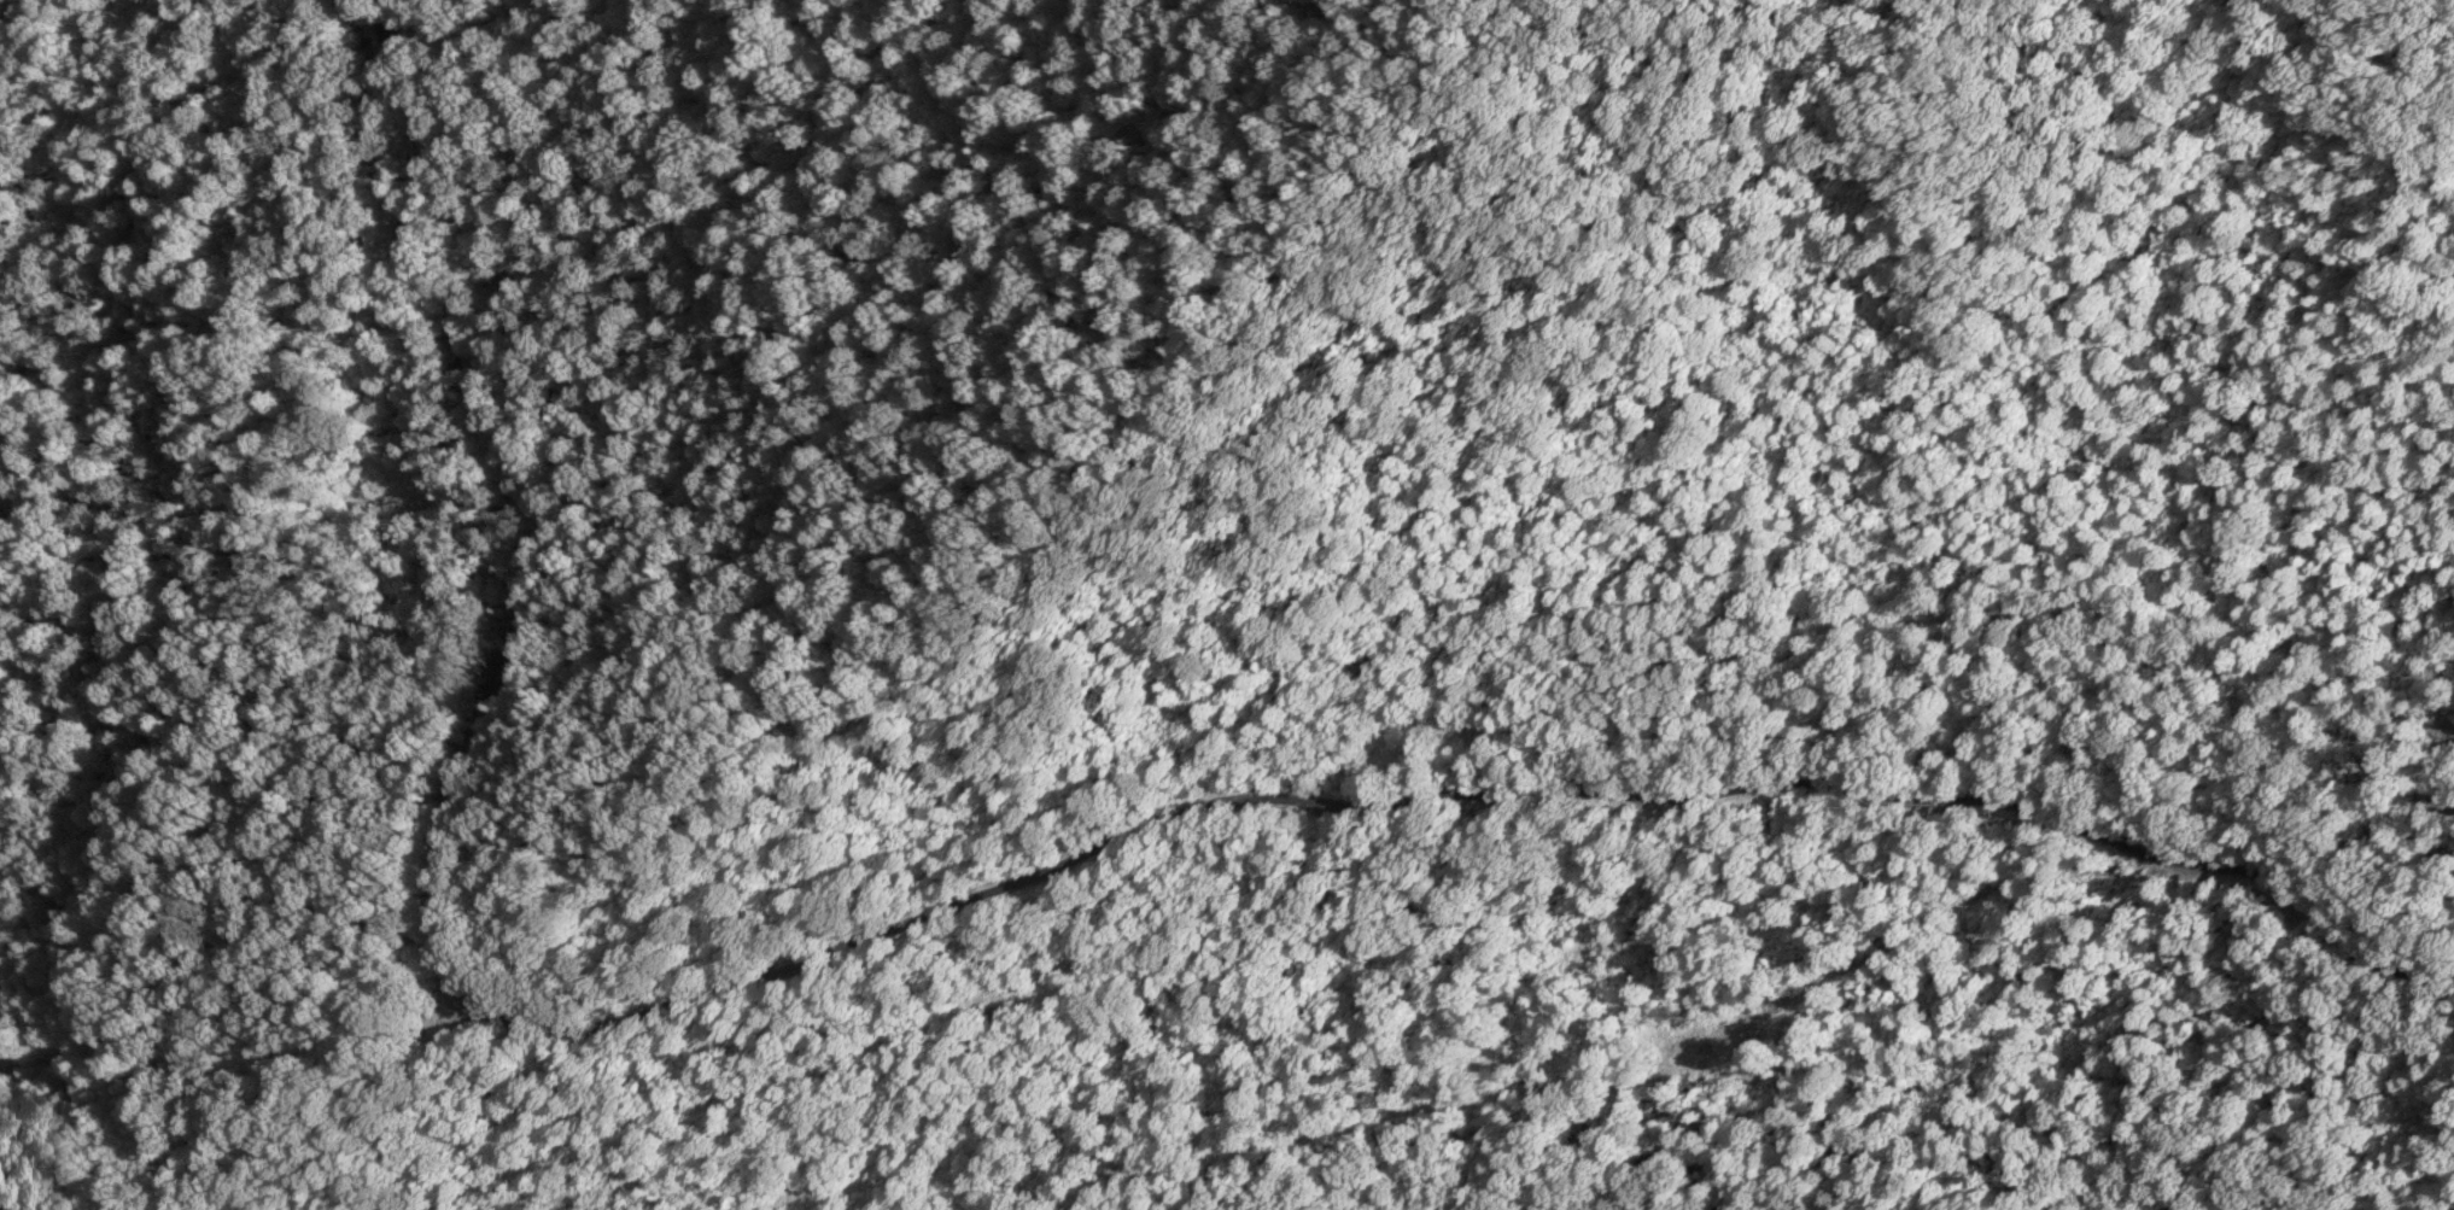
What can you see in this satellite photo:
road: (946, 937)
road: (372, 1127)

